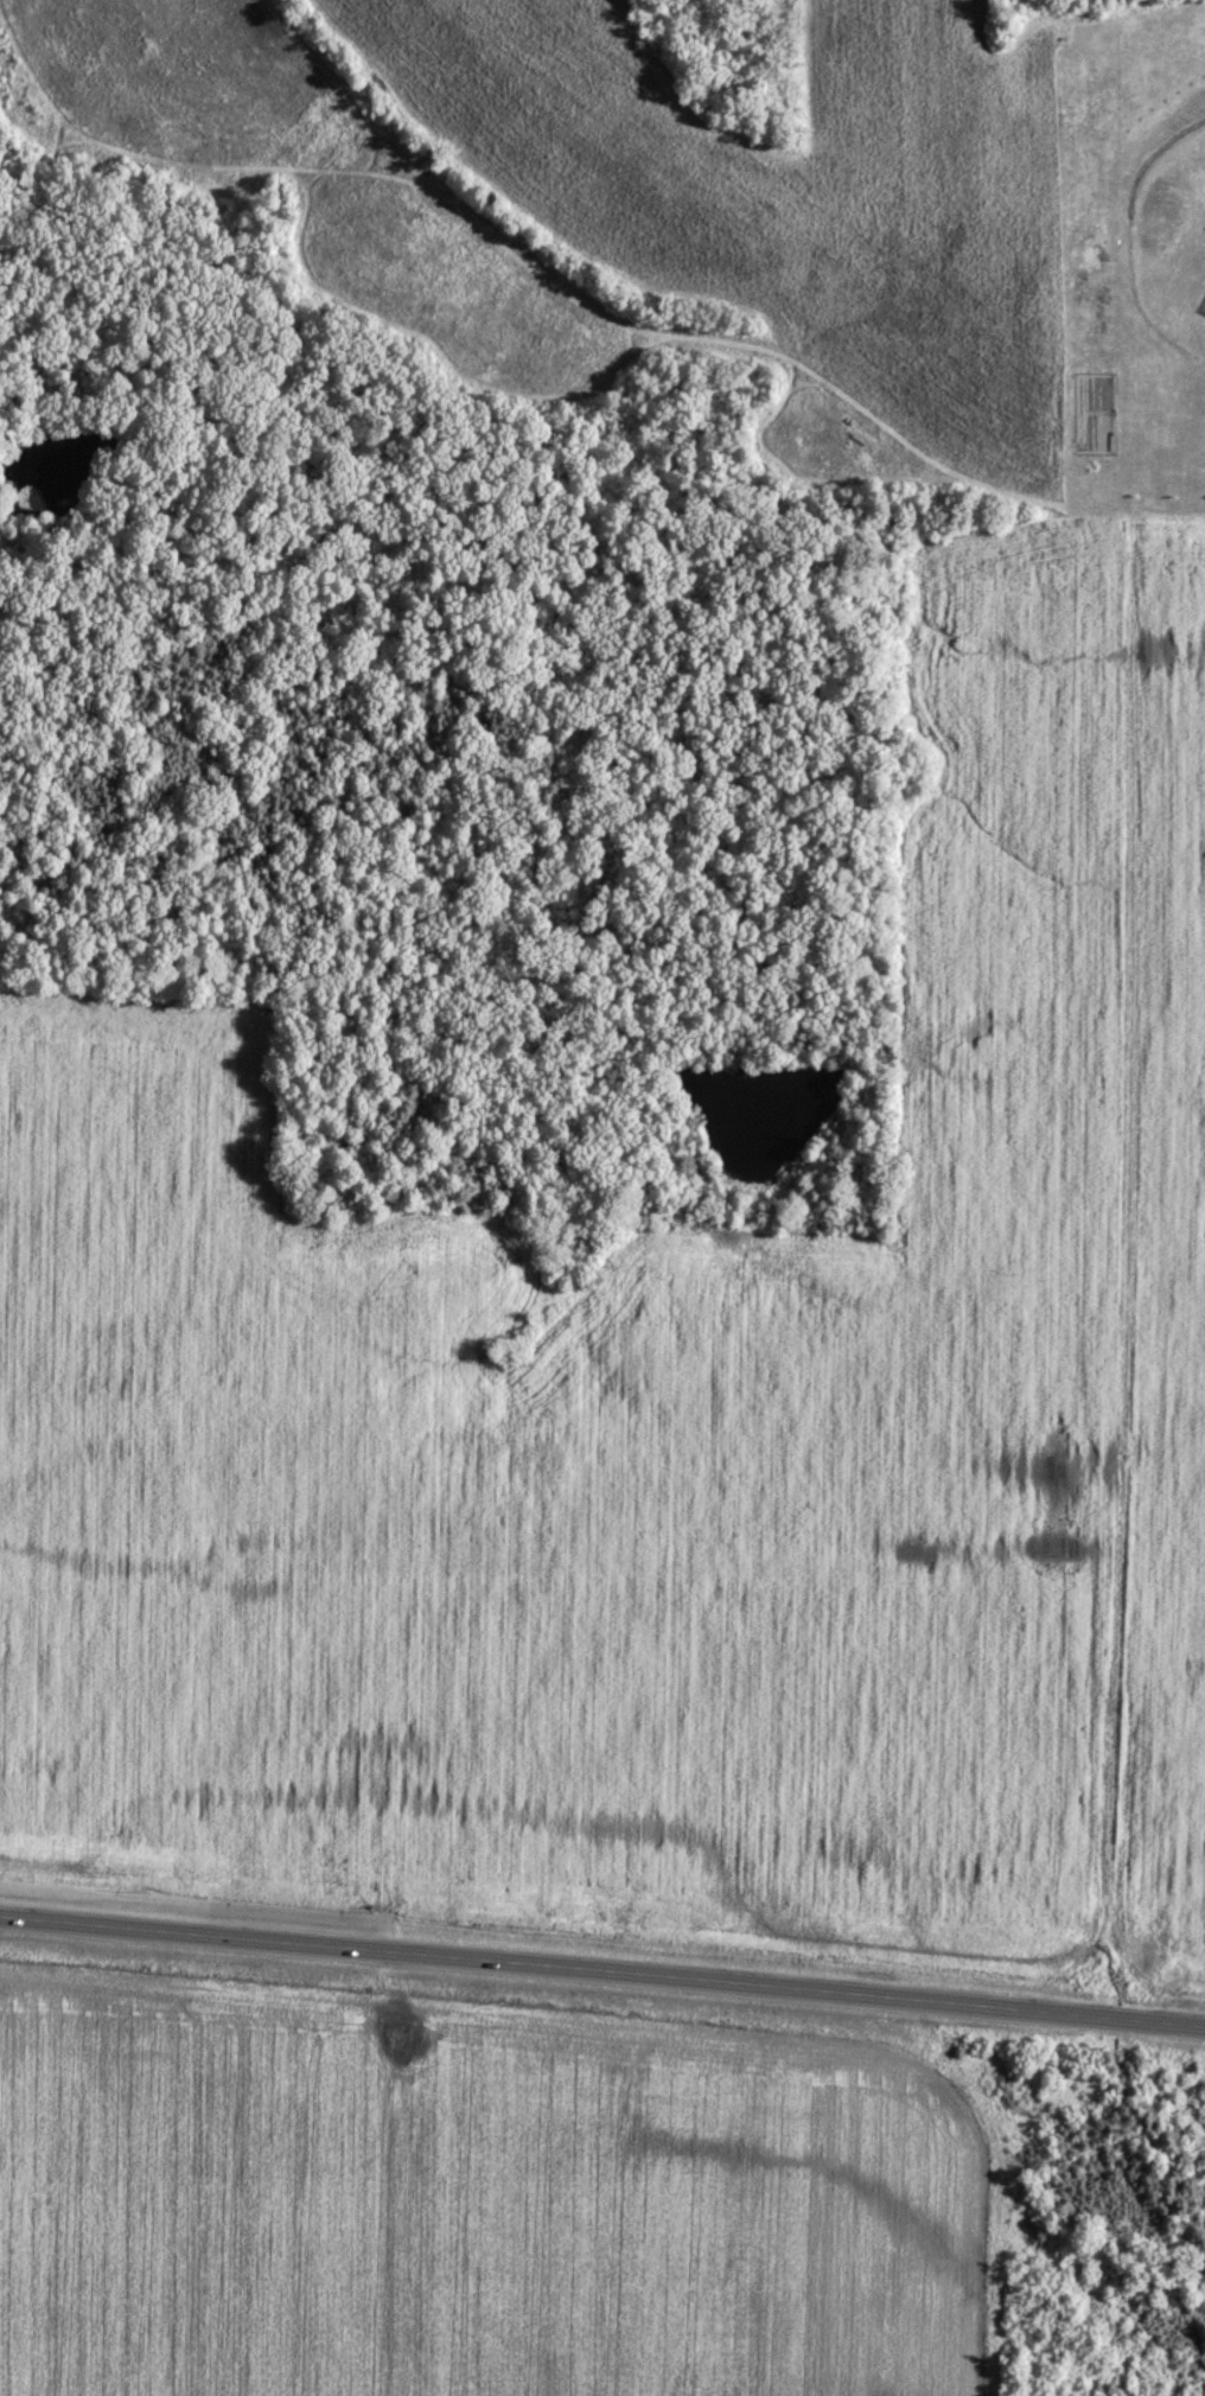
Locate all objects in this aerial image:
road: (602, 1969)

